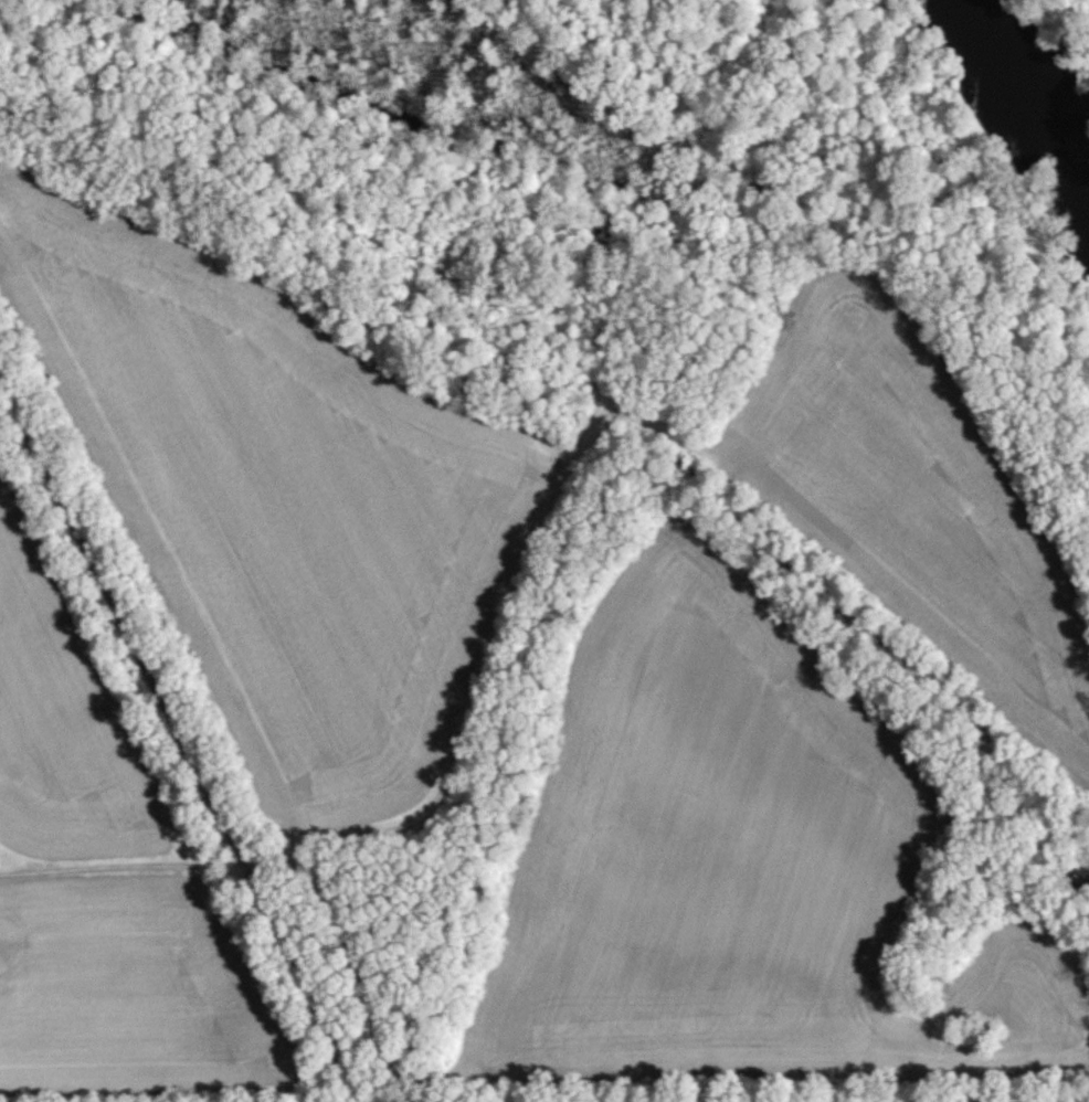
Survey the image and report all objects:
river: (1026, 106)
road: (363, 235)
road: (180, 741)
road: (432, 802)

